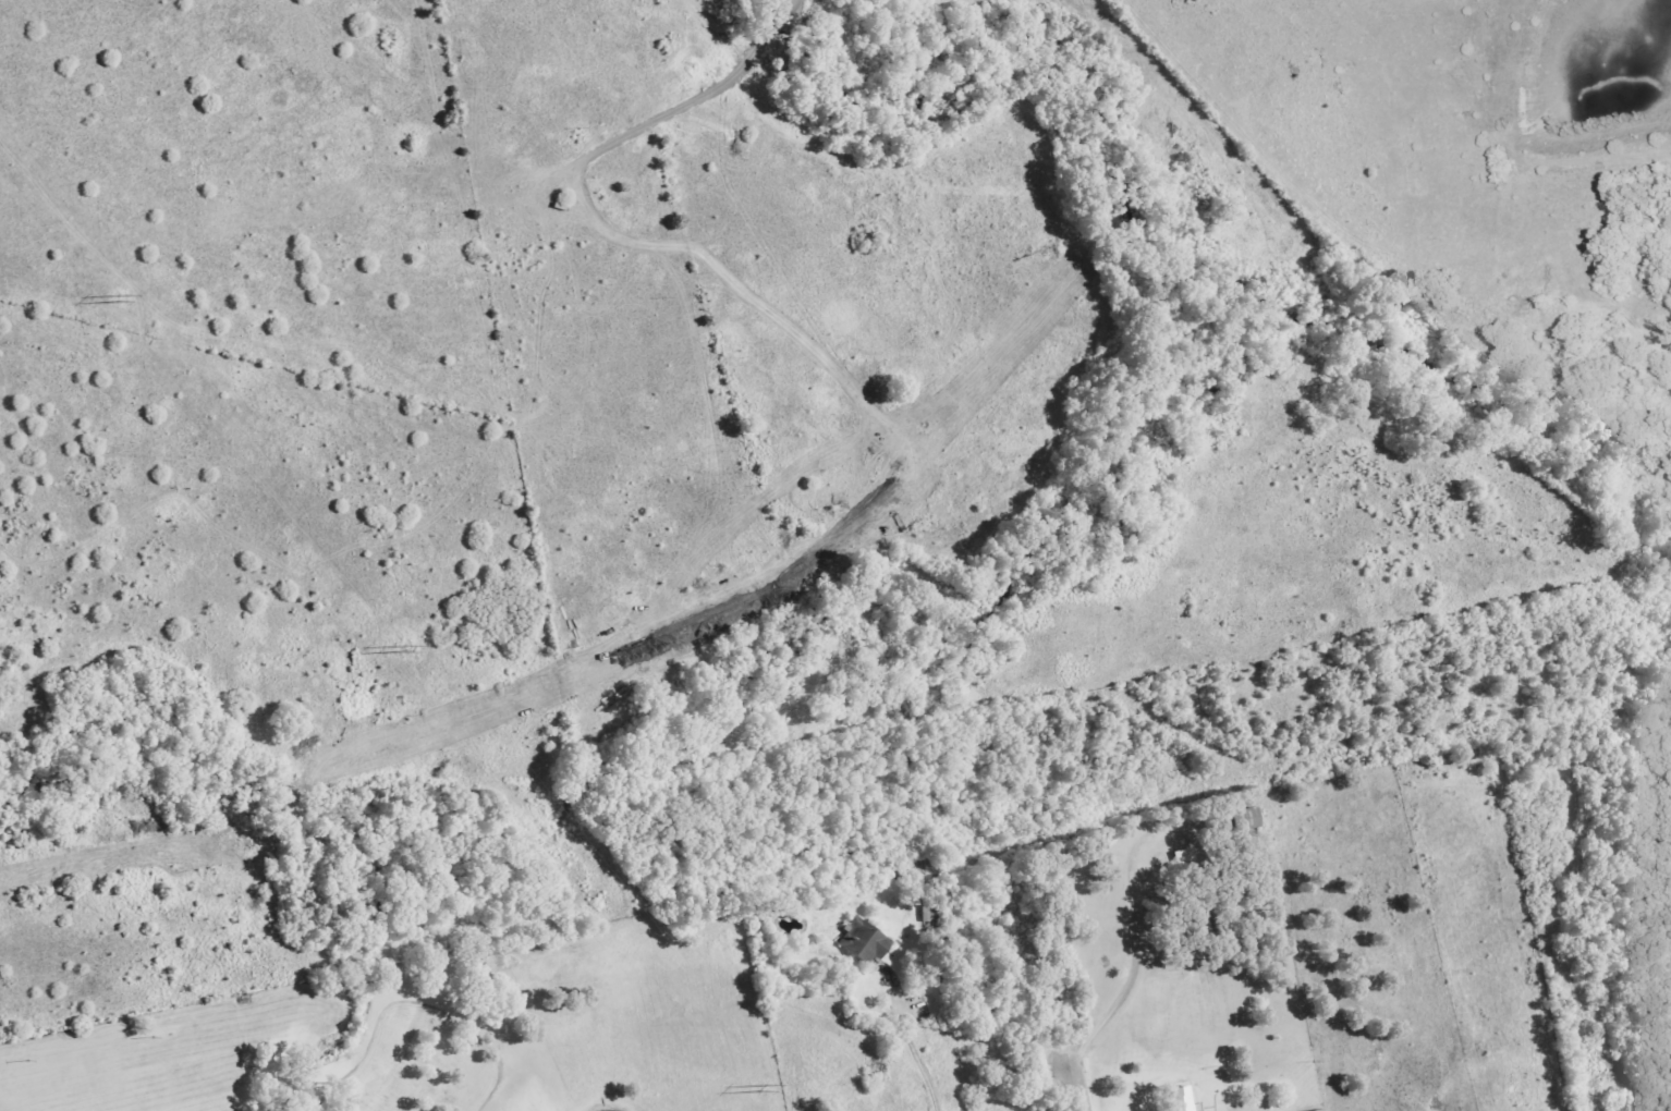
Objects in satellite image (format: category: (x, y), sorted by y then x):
power tower: (123, 298)
power tower: (407, 648)
building: (863, 941)
road: (1138, 944)
road: (922, 1065)
power tower: (768, 1092)
building: (1183, 1100)
building: (1318, 1110)

